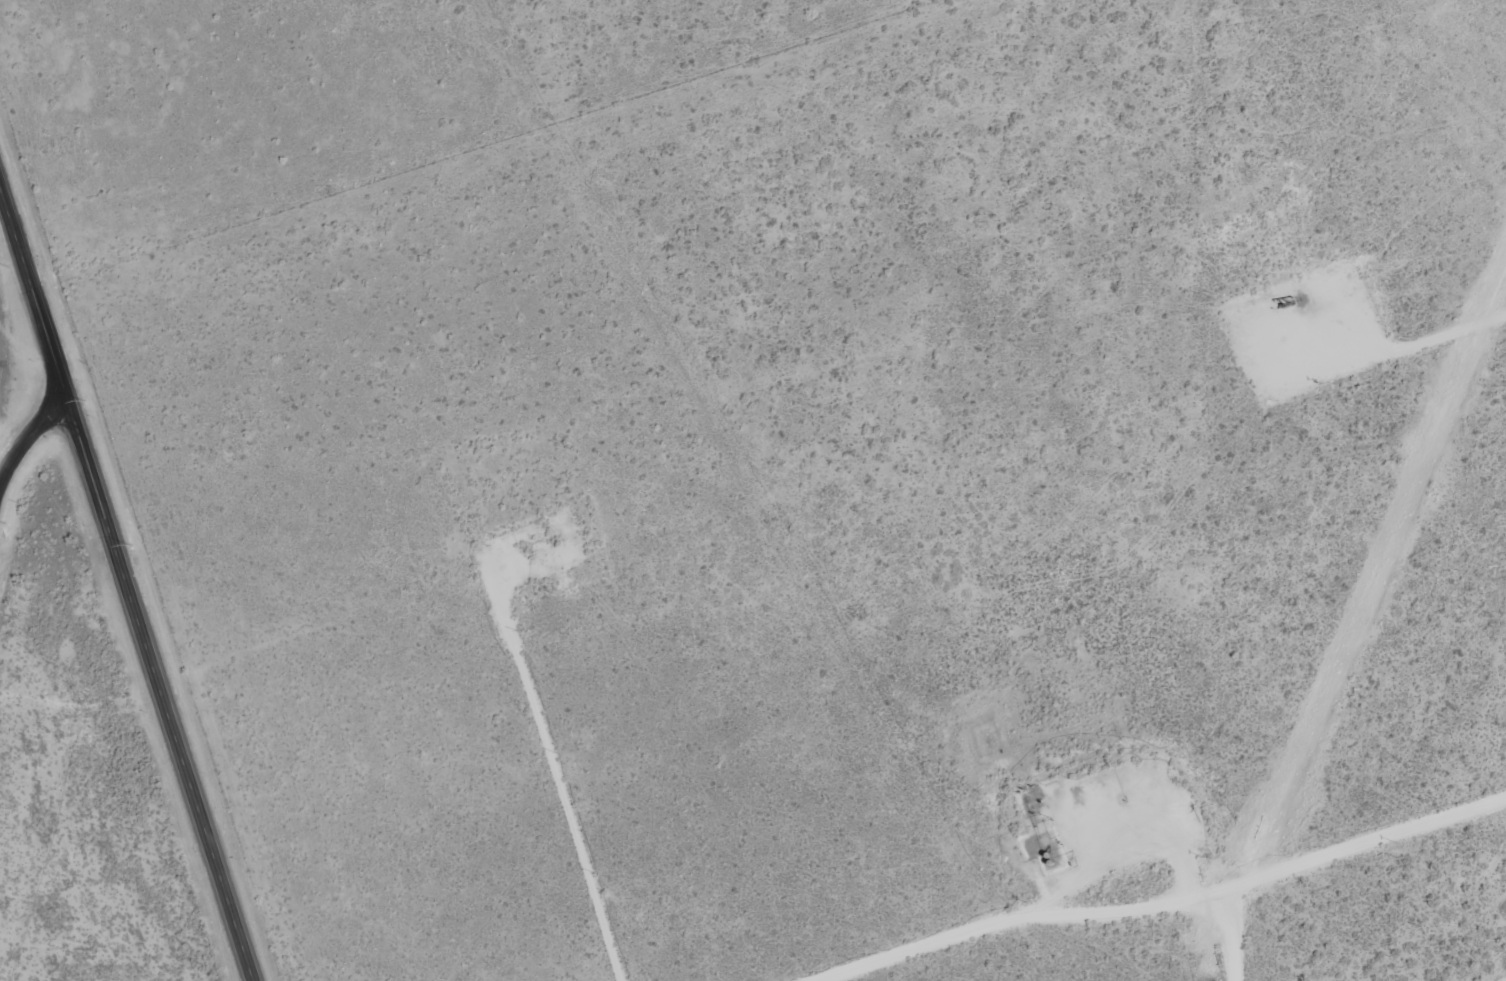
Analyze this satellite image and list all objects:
road: (34, 296)
road: (1388, 349)
road: (29, 441)
road: (159, 692)
road: (556, 786)
road: (1165, 906)

